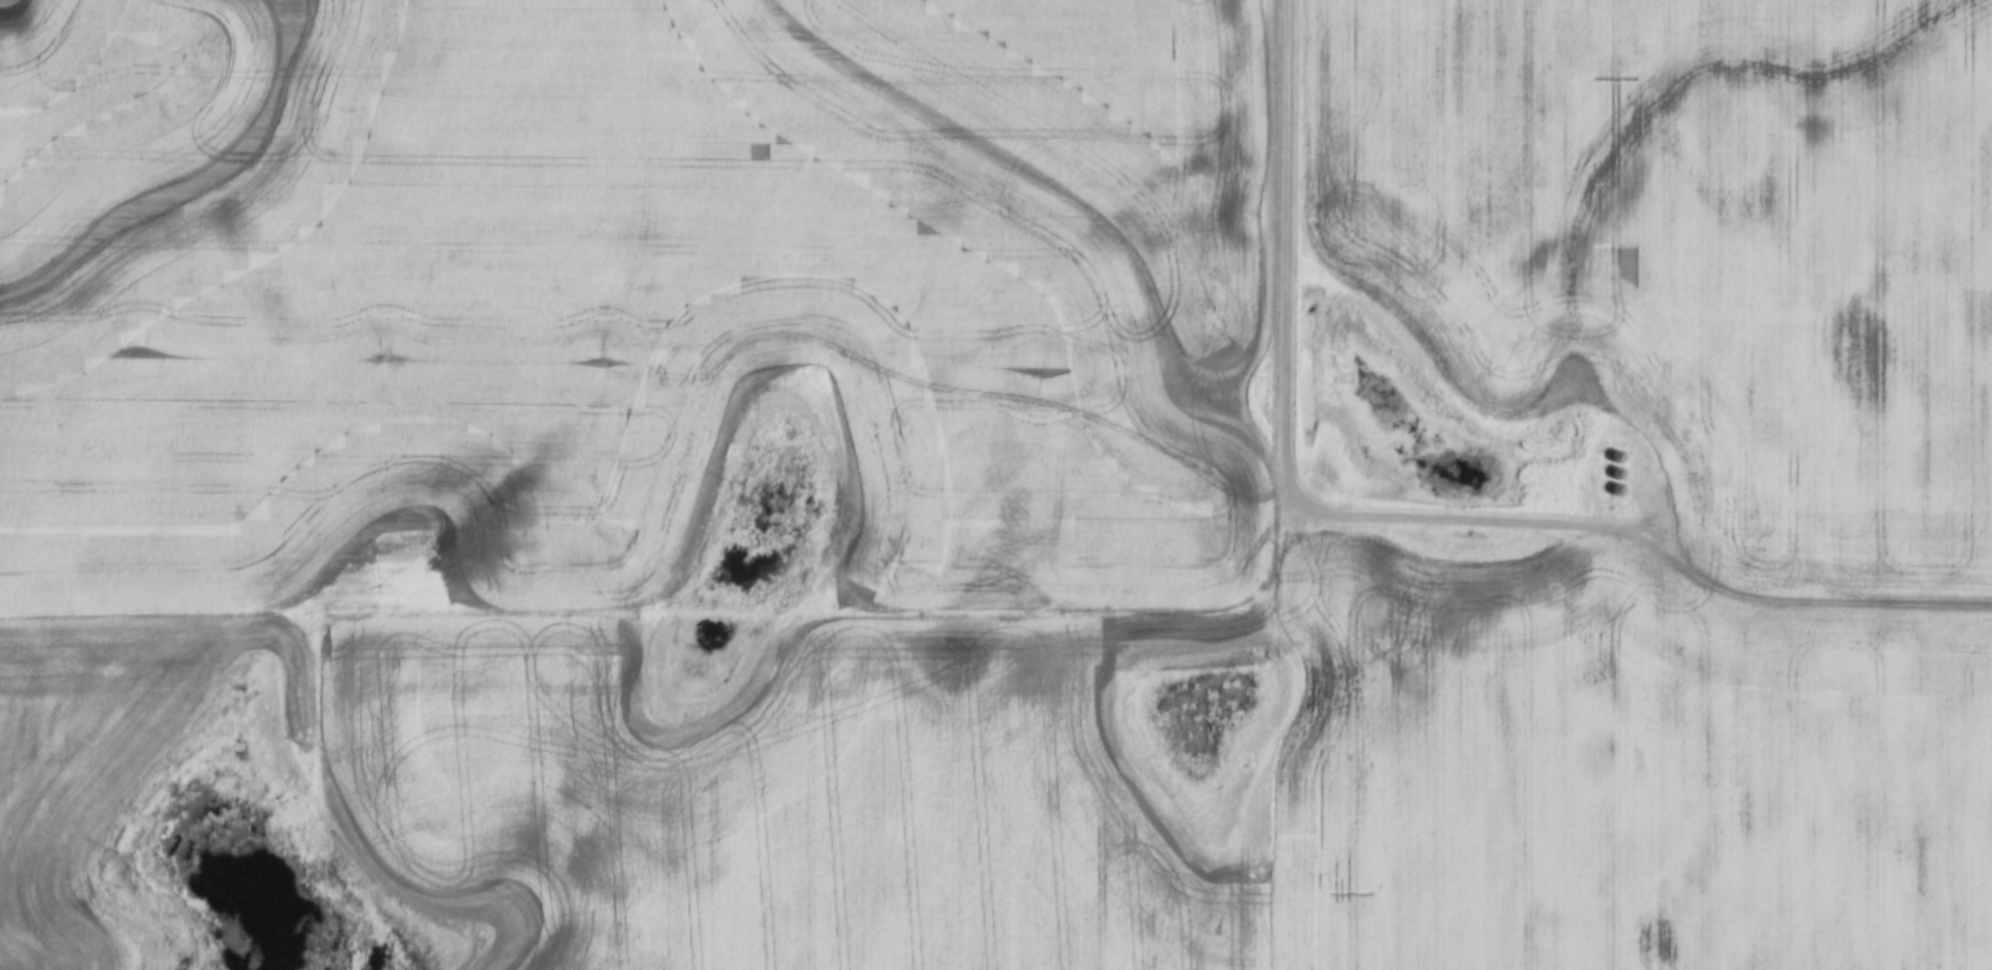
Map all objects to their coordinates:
road: (1290, 448)
building: (1616, 465)
building: (1616, 490)

